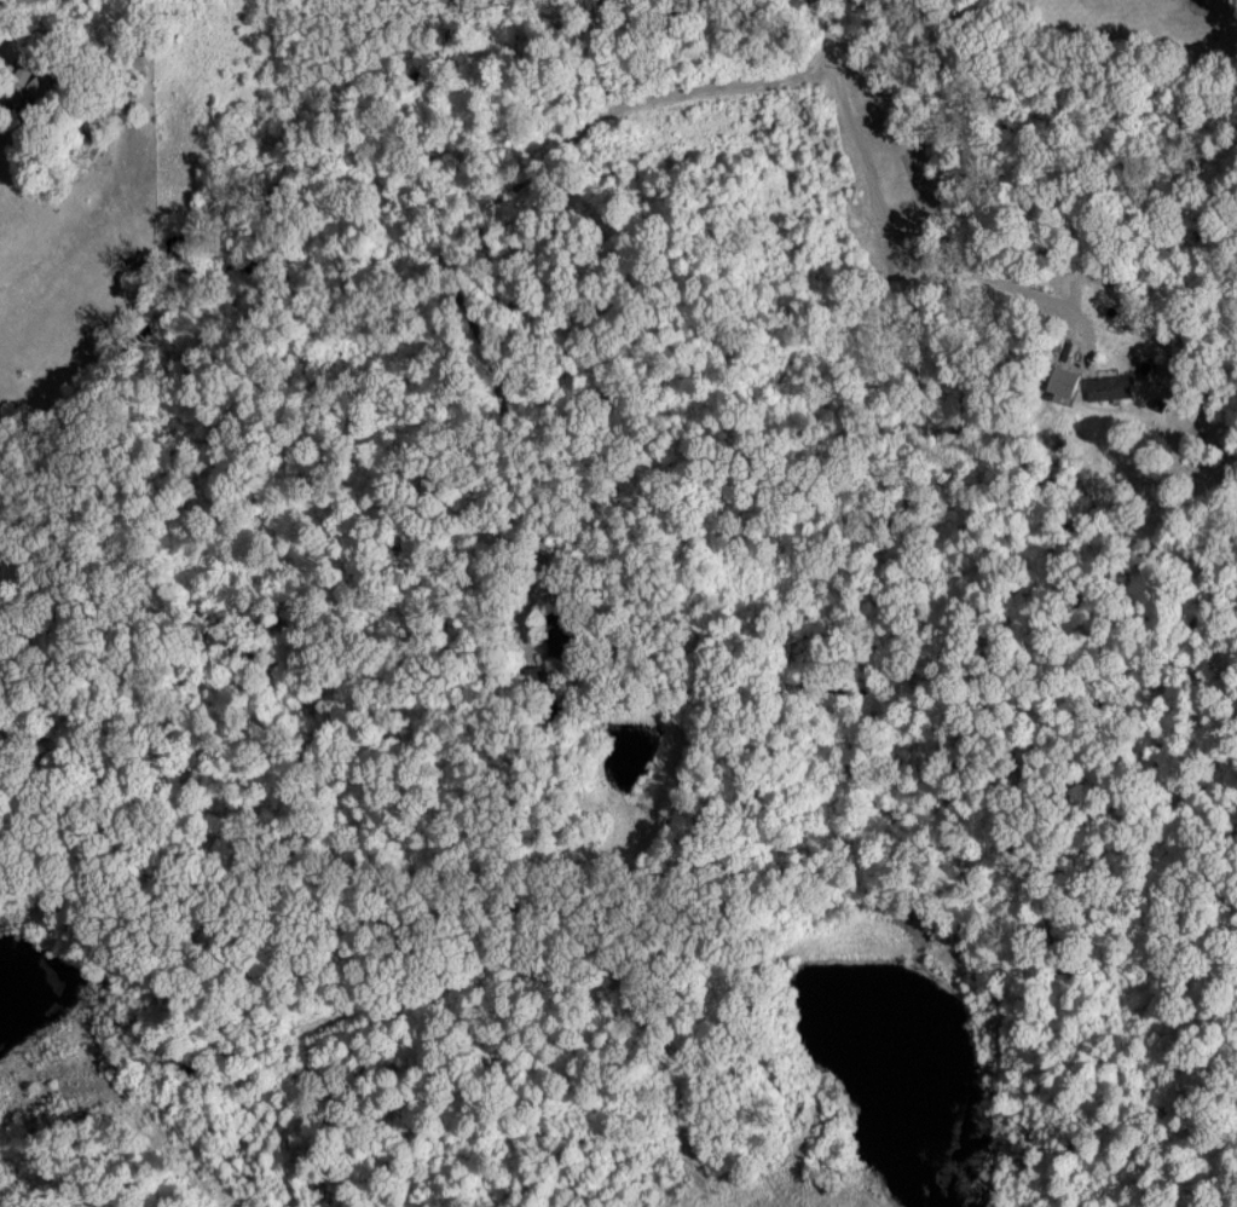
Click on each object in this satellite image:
road: (12, 4)
road: (891, 226)
road: (463, 227)
building: (1060, 380)
building: (1106, 386)

